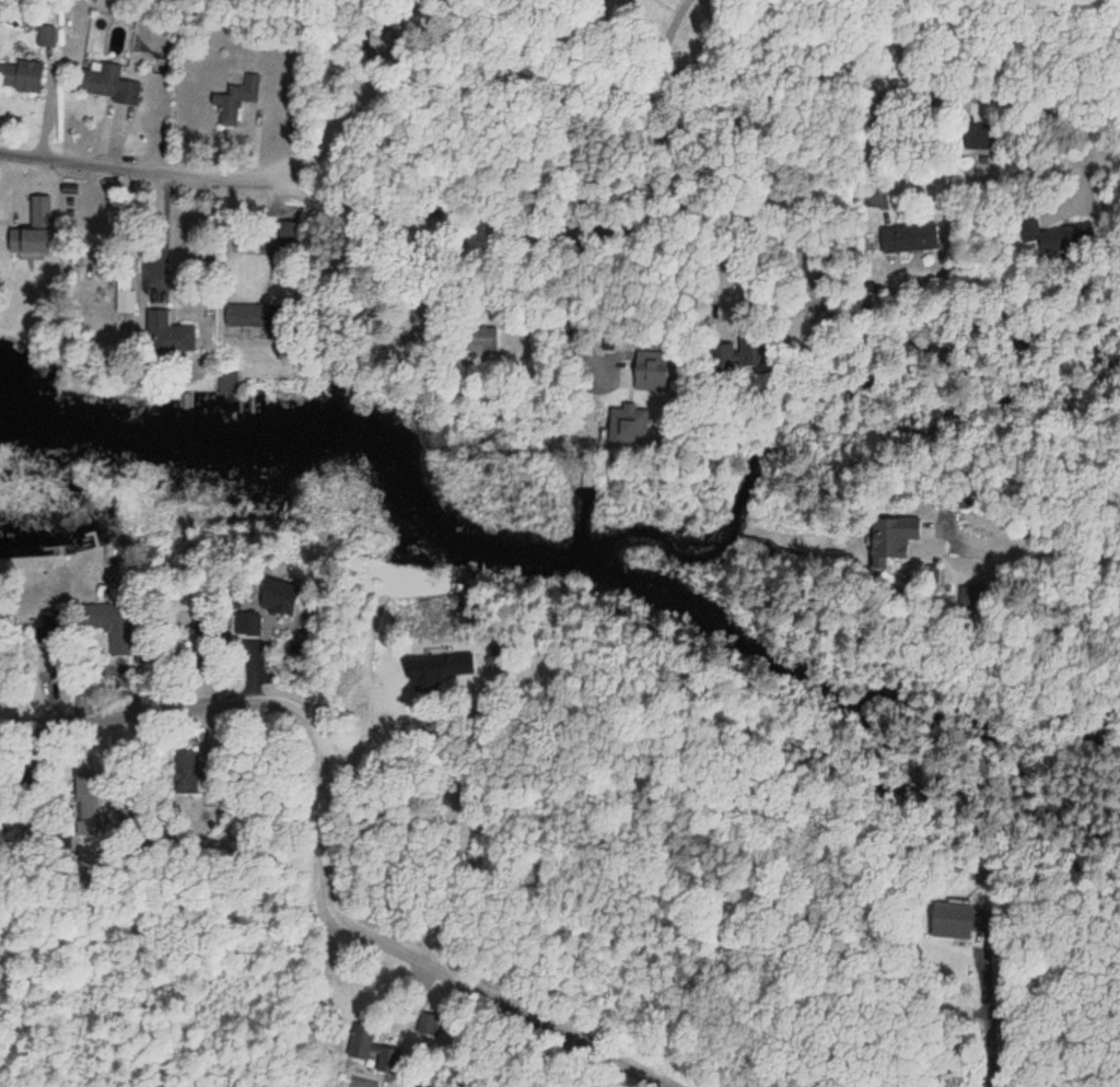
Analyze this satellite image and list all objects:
road: (384, 46)
building: (20, 77)
building: (107, 83)
road: (748, 83)
building: (235, 100)
building: (978, 138)
road: (206, 173)
road: (850, 176)
road: (733, 197)
road: (581, 208)
building: (910, 238)
building: (126, 301)
building: (248, 316)
building: (166, 335)
building: (480, 340)
building: (726, 358)
building: (230, 384)
building: (633, 425)
building: (889, 540)
road: (1039, 543)
building: (272, 594)
building: (115, 624)
building: (459, 667)
road: (160, 714)
building: (188, 772)
building: (956, 921)
road: (417, 954)
building: (366, 1045)

